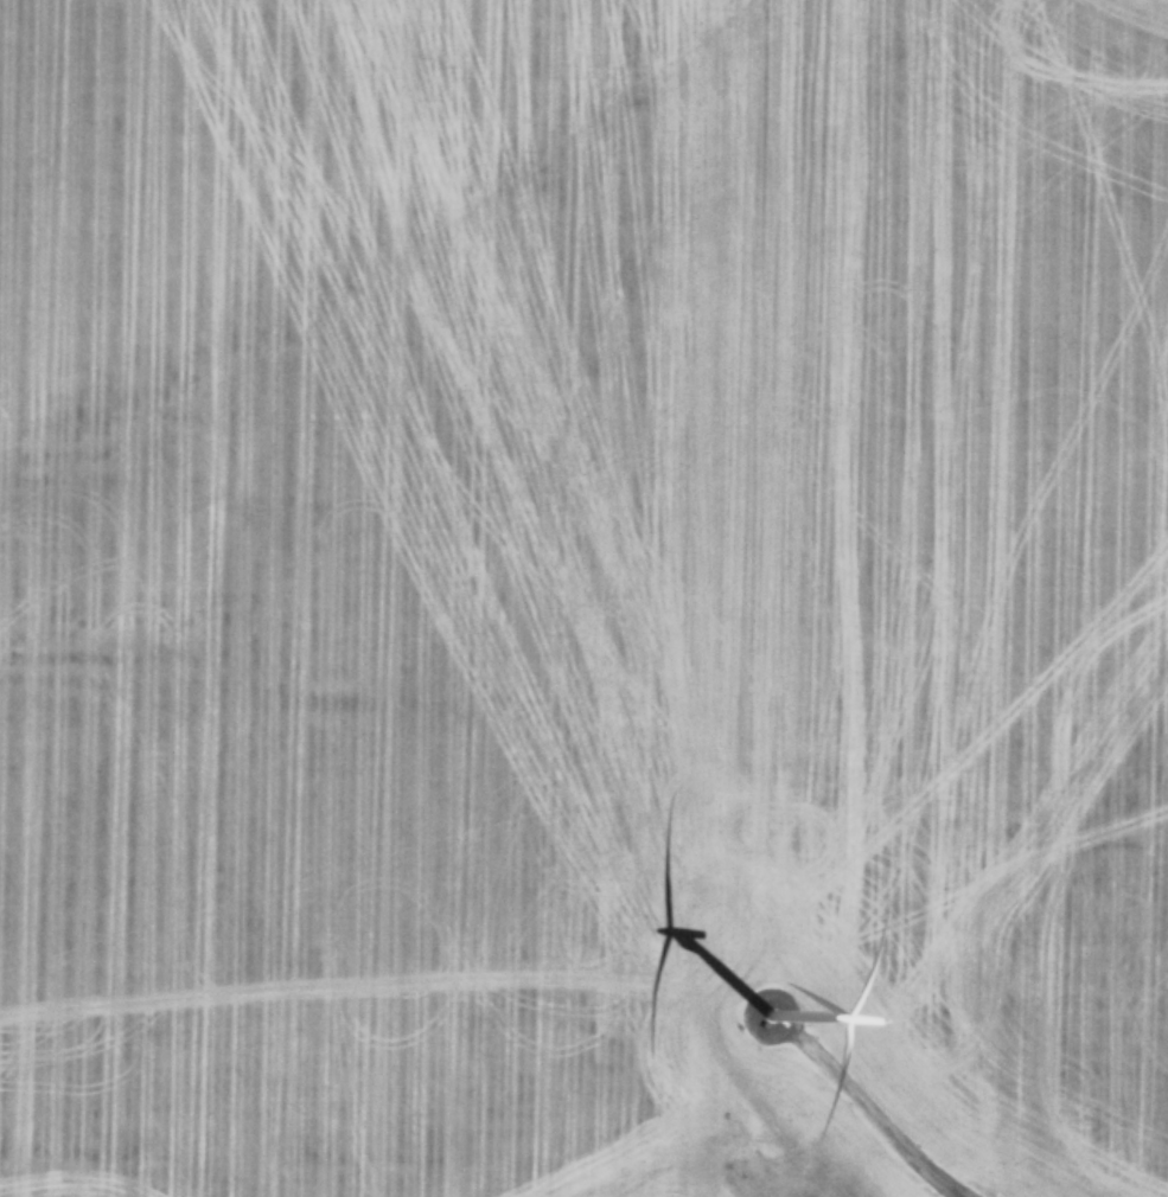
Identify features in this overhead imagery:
wind turbine: (786, 1031)
road: (886, 1125)

